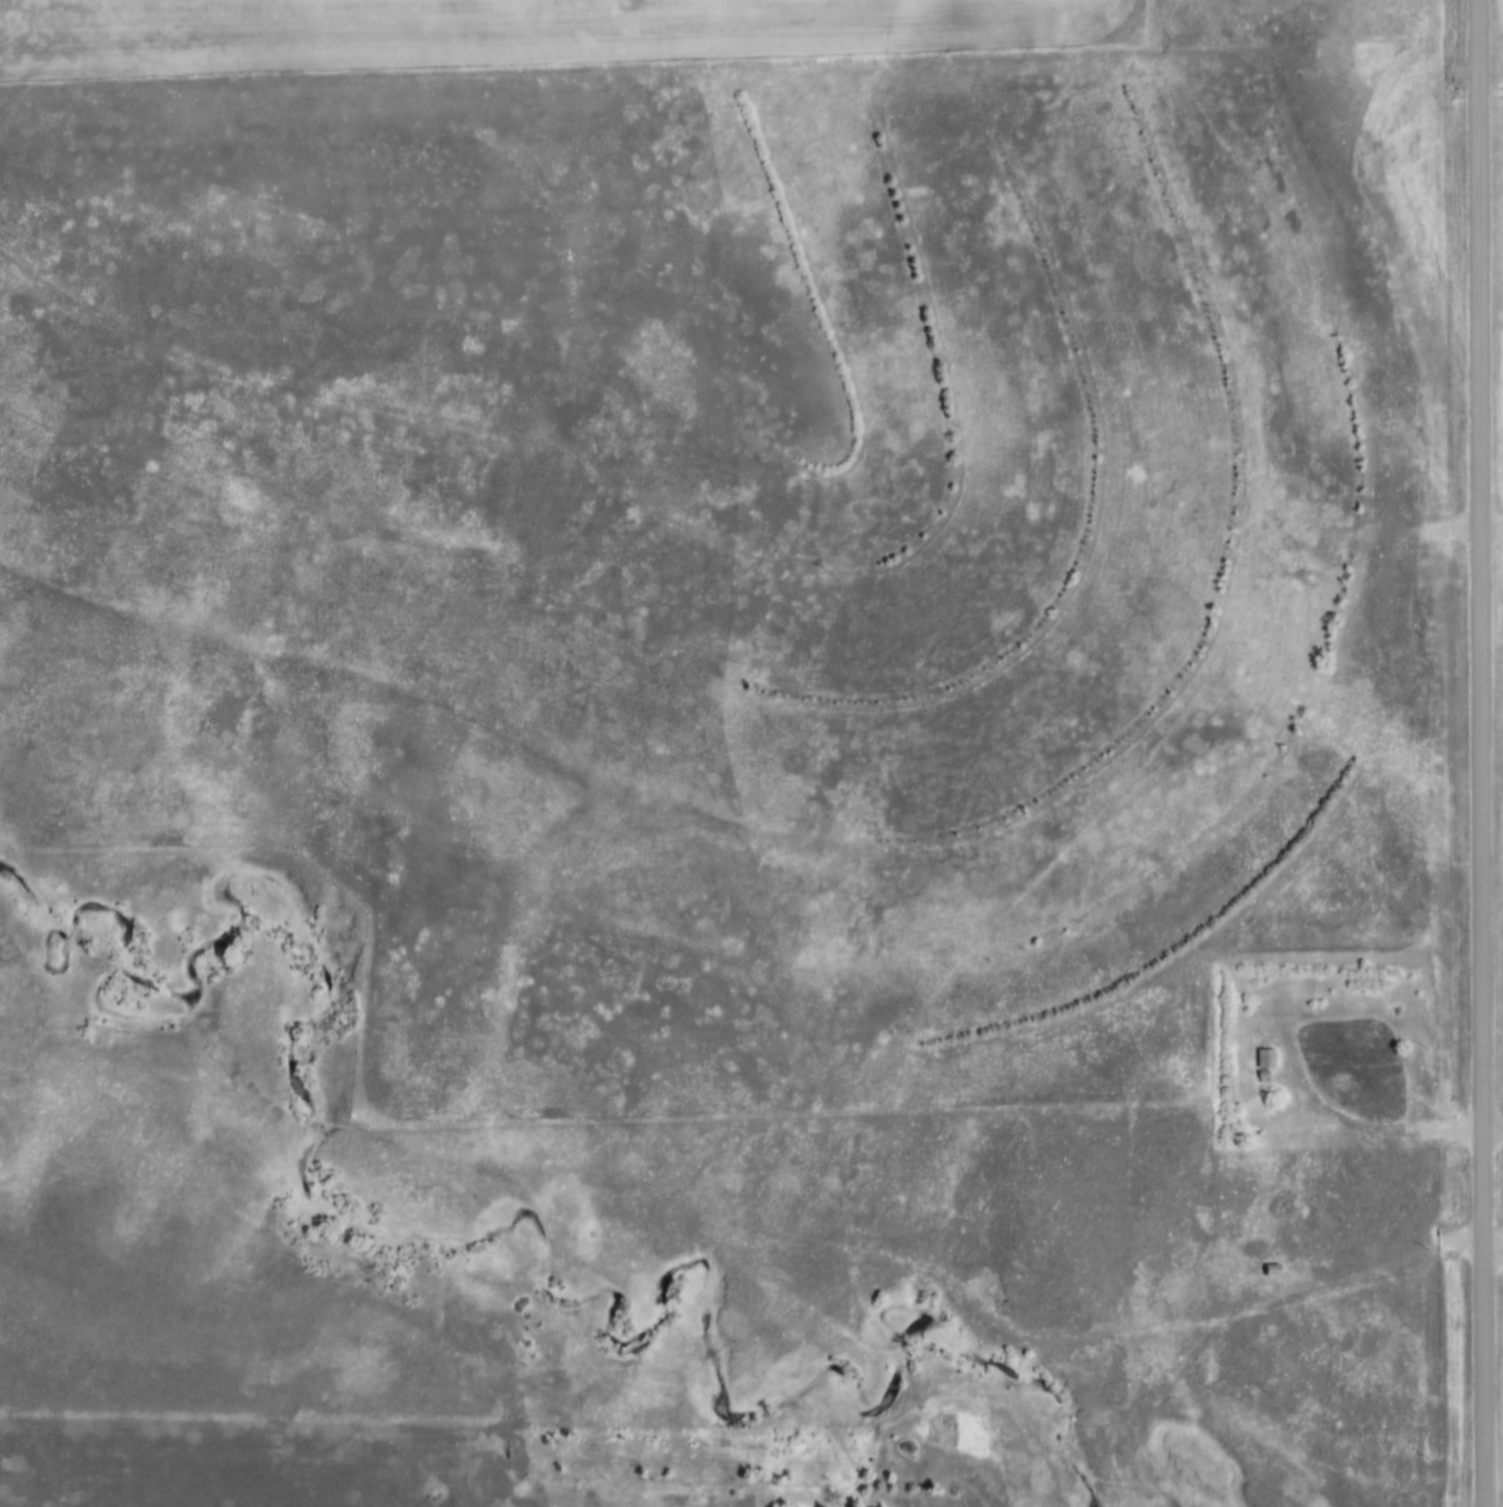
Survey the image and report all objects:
road: (1481, 753)
building: (1264, 1063)
road: (1377, 1128)
building: (1270, 1269)
road: (393, 1424)

